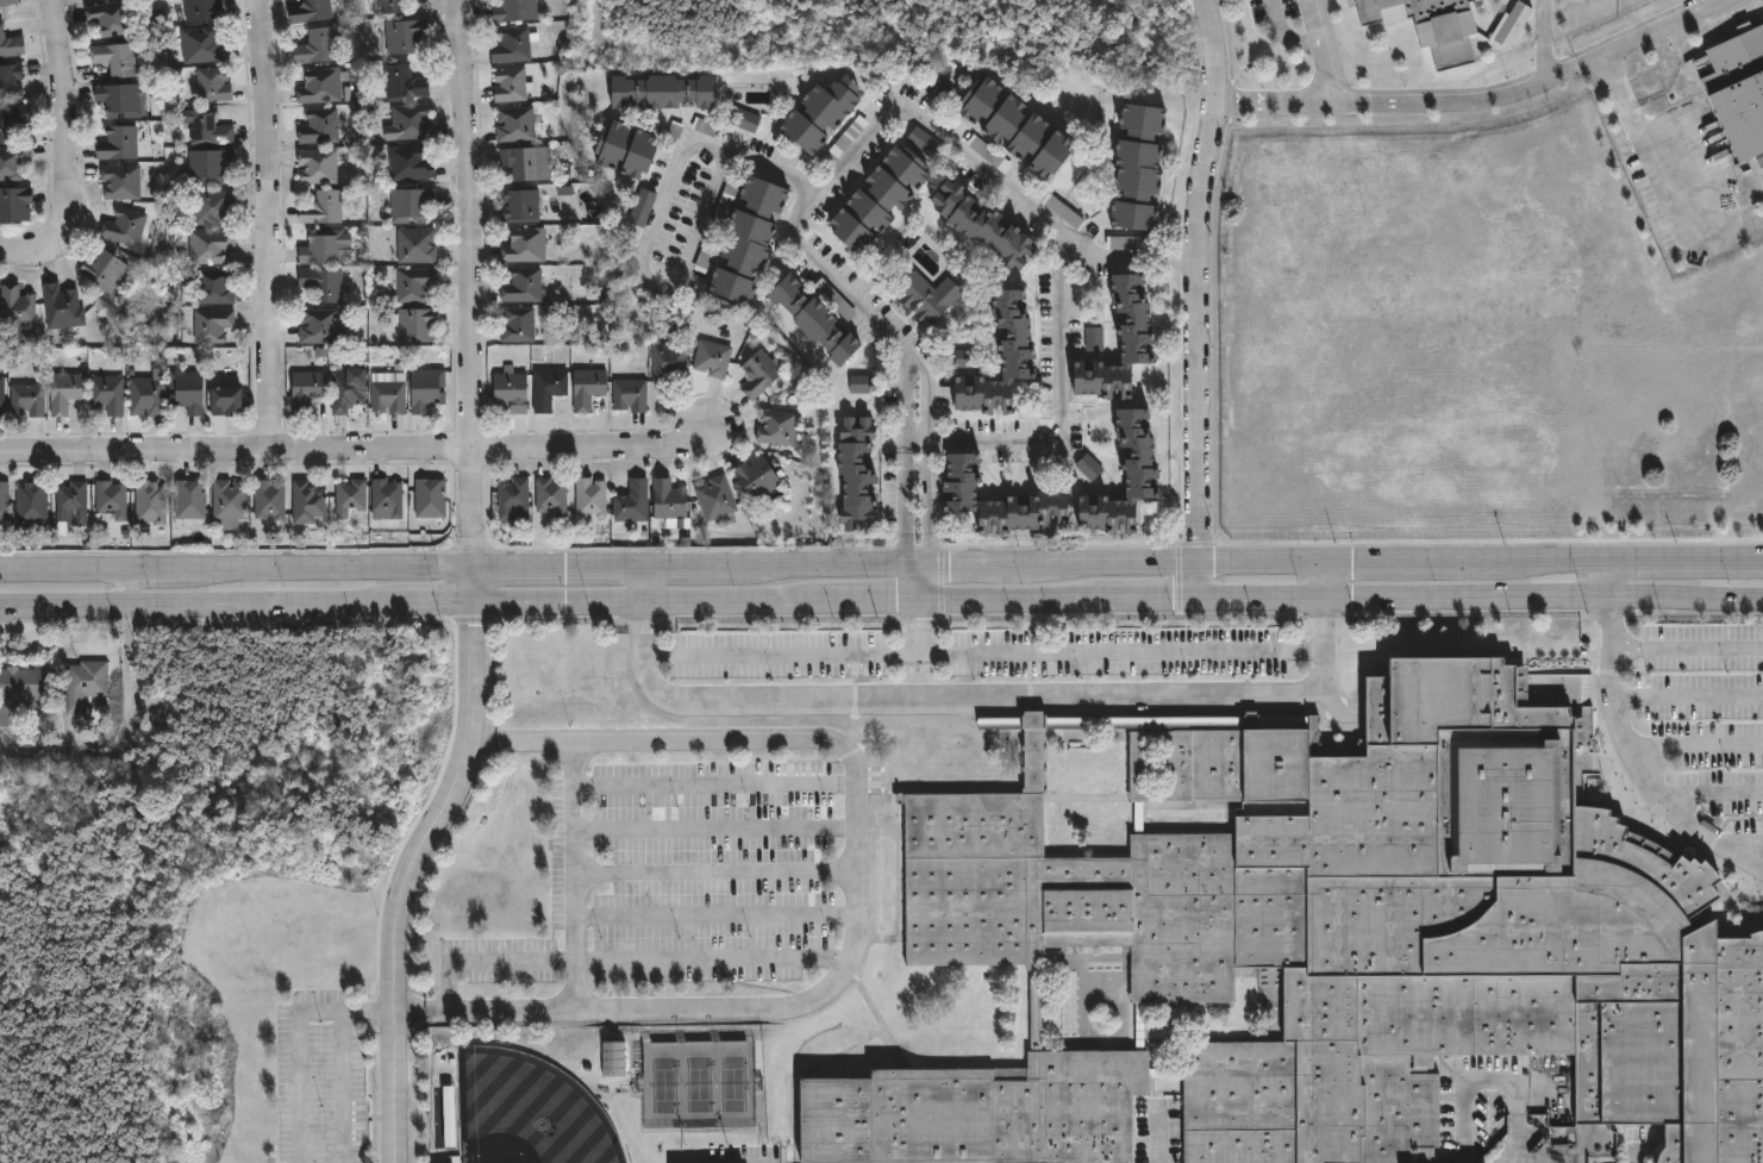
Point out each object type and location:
building: (10, 2)
building: (389, 6)
building: (207, 10)
building: (514, 11)
building: (312, 12)
building: (114, 18)
road: (1315, 21)
building: (1428, 26)
road: (1288, 32)
building: (402, 37)
road: (1542, 42)
building: (12, 44)
building: (512, 44)
building: (319, 45)
building: (206, 46)
building: (121, 58)
road: (1331, 71)
building: (12, 81)
building: (401, 82)
building: (217, 83)
building: (509, 85)
building: (320, 86)
building: (1737, 88)
building: (942, 90)
building: (659, 92)
road: (1483, 93)
building: (123, 100)
building: (818, 114)
building: (743, 119)
building: (14, 120)
building: (410, 121)
building: (515, 124)
building: (321, 127)
building: (213, 130)
building: (1008, 130)
road: (65, 133)
building: (924, 143)
building: (121, 144)
road: (1644, 144)
building: (621, 150)
building: (990, 154)
building: (14, 163)
building: (408, 163)
building: (526, 163)
building: (319, 165)
building: (1136, 165)
building: (213, 167)
building: (124, 181)
building: (877, 199)
building: (17, 204)
building: (218, 205)
building: (410, 205)
building: (519, 205)
building: (324, 207)
building: (643, 208)
road: (656, 219)
road: (270, 224)
building: (127, 226)
road: (795, 226)
building: (980, 226)
building: (745, 239)
building: (1127, 243)
building: (213, 245)
building: (414, 245)
building: (524, 245)
road: (14, 246)
building: (320, 248)
road: (1132, 256)
road: (1193, 261)
building: (107, 268)
building: (323, 282)
building: (413, 283)
road: (471, 283)
building: (215, 285)
building: (521, 286)
building: (926, 296)
building: (20, 306)
building: (65, 306)
building: (811, 318)
building: (215, 324)
building: (320, 324)
building: (417, 324)
building: (517, 325)
building: (1095, 338)
building: (1118, 342)
building: (998, 356)
building: (712, 358)
building: (967, 358)
building: (669, 362)
building: (761, 373)
building: (862, 383)
building: (588, 387)
building: (346, 388)
building: (426, 388)
building: (548, 388)
building: (192, 389)
building: (311, 389)
building: (511, 390)
building: (68, 392)
building: (150, 393)
building: (630, 393)
building: (111, 394)
building: (4, 395)
building: (387, 396)
building: (31, 398)
building: (233, 399)
road: (1062, 417)
building: (776, 427)
road: (354, 451)
building: (1089, 467)
building: (854, 473)
building: (1140, 473)
building: (756, 476)
building: (385, 495)
building: (550, 495)
building: (589, 495)
building: (349, 496)
building: (427, 496)
building: (192, 498)
building: (512, 498)
building: (114, 499)
building: (267, 499)
building: (668, 499)
building: (715, 499)
building: (6, 500)
building: (995, 500)
building: (37, 501)
building: (154, 501)
building: (631, 501)
building: (75, 502)
building: (227, 502)
building: (304, 502)
road: (1201, 561)
road: (1411, 564)
road: (1174, 565)
road: (1550, 565)
road: (1683, 565)
road: (831, 567)
road: (970, 567)
road: (562, 568)
road: (695, 568)
road: (330, 570)
road: (63, 573)
road: (155, 573)
road: (648, 583)
road: (919, 583)
road: (1326, 583)
road: (1605, 583)
road: (477, 587)
road: (127, 589)
road: (1158, 598)
road: (1017, 599)
road: (739, 600)
road: (876, 600)
road: (1264, 600)
road: (440, 602)
road: (562, 602)
road: (1545, 602)
road: (201, 605)
road: (1327, 626)
road: (648, 627)
road: (1689, 648)
parking lot: (979, 652)
road: (1095, 652)
road: (782, 655)
building: (85, 683)
building: (18, 690)
road: (986, 696)
road: (1689, 696)
parking lot: (1703, 717)
road: (126, 737)
road: (1627, 737)
road: (1699, 748)
road: (715, 786)
road: (1717, 794)
road: (715, 824)
road: (1751, 849)
road: (1739, 852)
road: (717, 868)
road: (573, 875)
road: (408, 877)
parking lot: (687, 882)
road: (861, 900)
road: (717, 914)
building: (1332, 942)
road: (626, 958)
road: (299, 1037)
building: (614, 1058)
parking lot: (320, 1075)
park: (699, 1083)
road: (1499, 1083)
road: (346, 1086)
park: (529, 1112)
building: (450, 1115)
road: (749, 1159)

